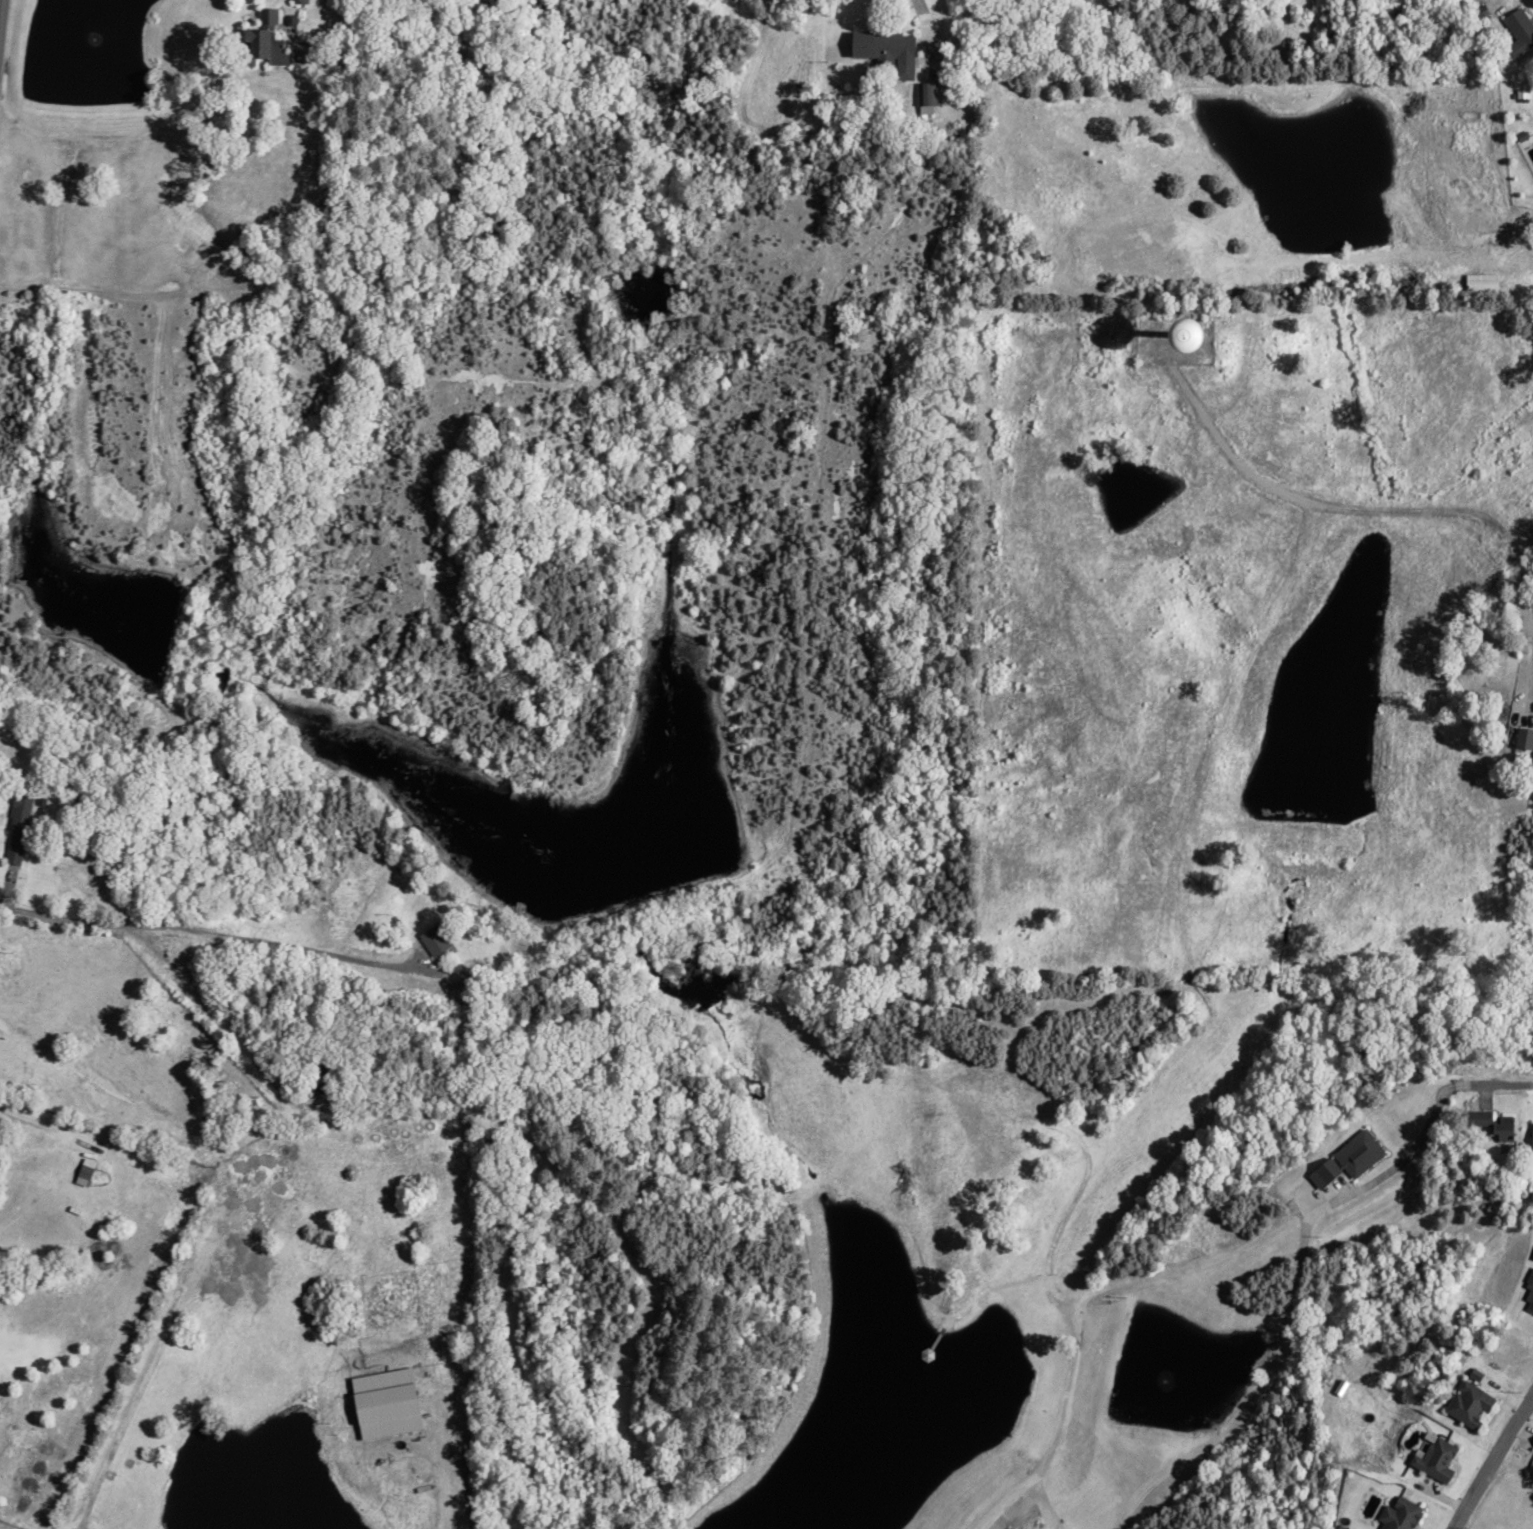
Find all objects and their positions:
road: (922, 17)
building: (1517, 31)
building: (257, 34)
building: (882, 50)
road: (9, 70)
building: (1479, 282)
building: (1522, 738)
building: (15, 829)
building: (430, 940)
building: (1499, 1127)
building: (1530, 1138)
building: (1346, 1158)
building: (1467, 1404)
building: (1436, 1458)
road: (1491, 1460)
building: (1399, 1515)

